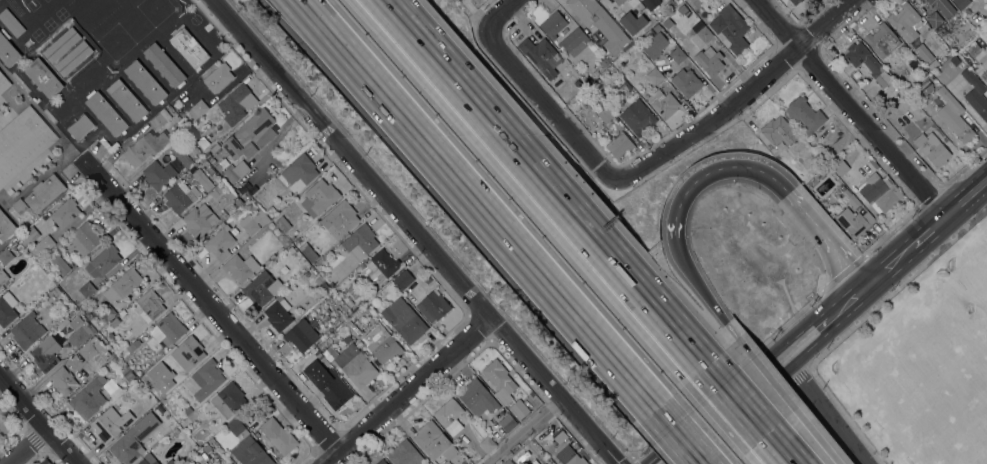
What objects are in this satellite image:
building: (641, 0)
building: (677, 0)
building: (618, 1)
building: (628, 1)
building: (794, 2)
building: (670, 3)
building: (960, 3)
building: (940, 6)
road: (505, 10)
building: (936, 20)
building: (905, 22)
building: (11, 23)
building: (600, 23)
building: (633, 23)
building: (553, 25)
building: (665, 26)
building: (656, 28)
building: (730, 28)
building: (960, 36)
building: (882, 40)
building: (574, 42)
building: (681, 44)
building: (61, 45)
building: (655, 45)
building: (188, 47)
building: (703, 49)
building: (7, 52)
building: (923, 54)
building: (962, 54)
building: (677, 55)
building: (541, 56)
building: (73, 58)
building: (864, 61)
building: (604, 63)
building: (163, 65)
building: (924, 73)
building: (654, 76)
building: (984, 76)
building: (43, 77)
building: (218, 77)
building: (145, 82)
building: (686, 82)
building: (3, 83)
building: (625, 86)
building: (573, 91)
building: (975, 94)
road: (541, 97)
building: (126, 100)
building: (663, 103)
building: (237, 104)
road: (732, 105)
road: (850, 107)
building: (198, 109)
building: (105, 113)
building: (605, 114)
building: (805, 114)
building: (637, 117)
building: (953, 117)
building: (160, 119)
building: (181, 123)
building: (80, 127)
building: (187, 131)
building: (778, 131)
building: (250, 135)
building: (202, 142)
building: (22, 143)
building: (619, 145)
building: (145, 147)
building: (931, 149)
building: (181, 156)
building: (839, 167)
building: (236, 171)
building: (299, 172)
building: (158, 175)
building: (201, 178)
road: (772, 178)
road: (546, 182)
building: (217, 191)
building: (44, 193)
building: (879, 193)
building: (231, 194)
building: (246, 194)
building: (179, 196)
building: (319, 198)
building: (850, 198)
road: (474, 202)
building: (237, 203)
building: (19, 206)
building: (271, 210)
building: (65, 212)
building: (339, 219)
building: (199, 220)
building: (854, 222)
building: (283, 223)
building: (251, 224)
building: (5, 227)
road: (413, 232)
building: (28, 236)
building: (84, 238)
building: (360, 239)
building: (219, 243)
building: (12, 245)
building: (42, 246)
building: (290, 249)
building: (311, 255)
building: (5, 256)
building: (103, 261)
building: (60, 264)
building: (380, 264)
building: (240, 267)
building: (403, 279)
building: (2, 280)
building: (319, 280)
building: (123, 285)
road: (695, 285)
building: (323, 287)
building: (260, 288)
building: (86, 290)
building: (55, 291)
building: (349, 304)
building: (149, 305)
building: (433, 307)
building: (7, 308)
building: (107, 313)
building: (278, 314)
road: (218, 316)
building: (404, 321)
road: (825, 321)
building: (114, 322)
building: (352, 328)
building: (167, 329)
building: (27, 331)
building: (79, 331)
building: (302, 334)
building: (134, 345)
building: (381, 345)
building: (94, 352)
building: (188, 353)
building: (45, 354)
building: (329, 354)
building: (355, 365)
road: (794, 369)
road: (765, 372)
building: (127, 374)
building: (207, 379)
building: (499, 380)
building: (63, 381)
building: (328, 384)
road: (409, 392)
building: (163, 394)
building: (478, 398)
building: (88, 400)
building: (228, 400)
road: (738, 400)
building: (518, 409)
building: (187, 411)
building: (448, 415)
road: (37, 421)
building: (234, 422)
building: (170, 423)
building: (507, 423)
road: (834, 423)
building: (110, 424)
building: (6, 425)
building: (178, 429)
road: (526, 432)
building: (244, 433)
road: (677, 434)
building: (278, 436)
building: (558, 436)
building: (133, 439)
building: (431, 440)
road: (819, 440)
building: (487, 444)
building: (544, 446)
building: (206, 448)
road: (30, 449)
road: (781, 450)
building: (253, 453)
building: (404, 454)
building: (572, 455)
building: (143, 461)
building: (381, 461)
building: (155, 462)
building: (169, 462)
building: (185, 462)
building: (446, 462)
building: (465, 462)
building: (507, 462)
building: (229, 463)
building: (230, 463)

